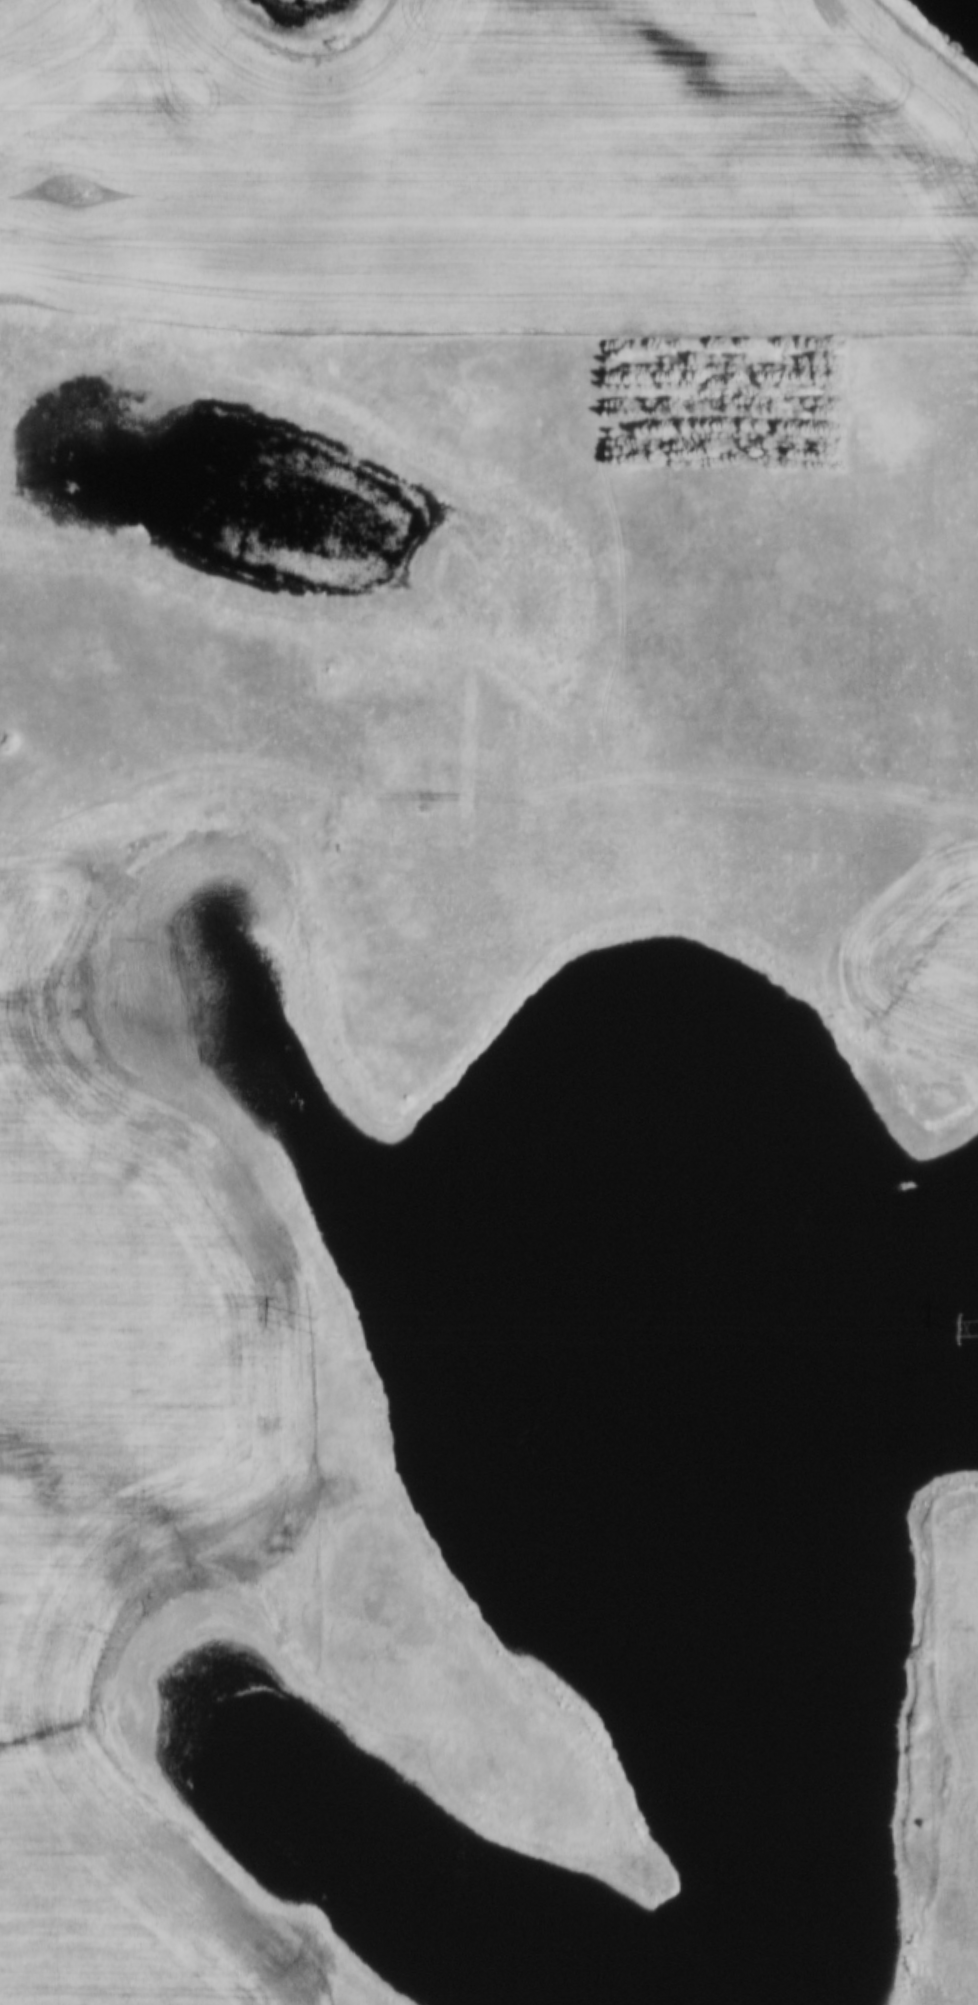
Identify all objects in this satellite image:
power tower: (314, 1324)
power tower: (977, 1329)

